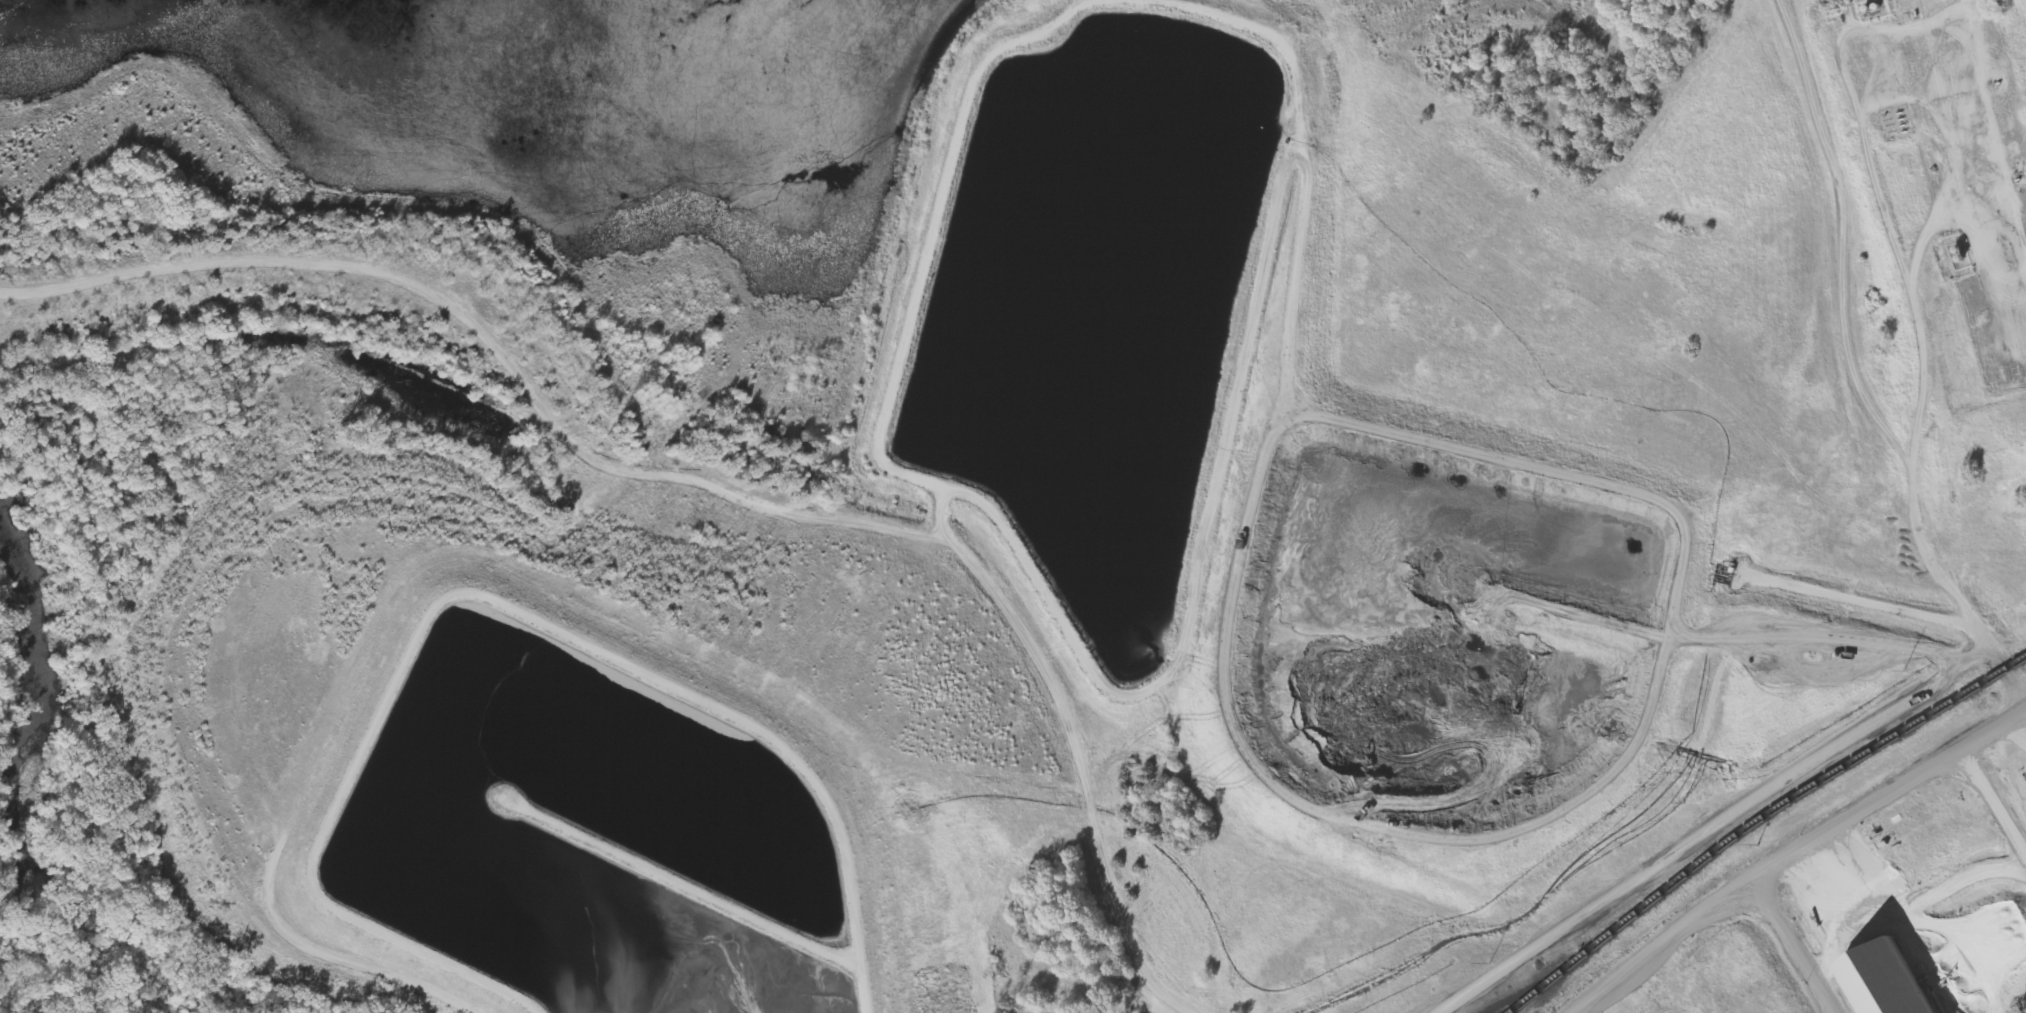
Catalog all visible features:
power plant: (1475, 488)
railway: (1757, 821)
railway: (1554, 961)
building: (1892, 981)

